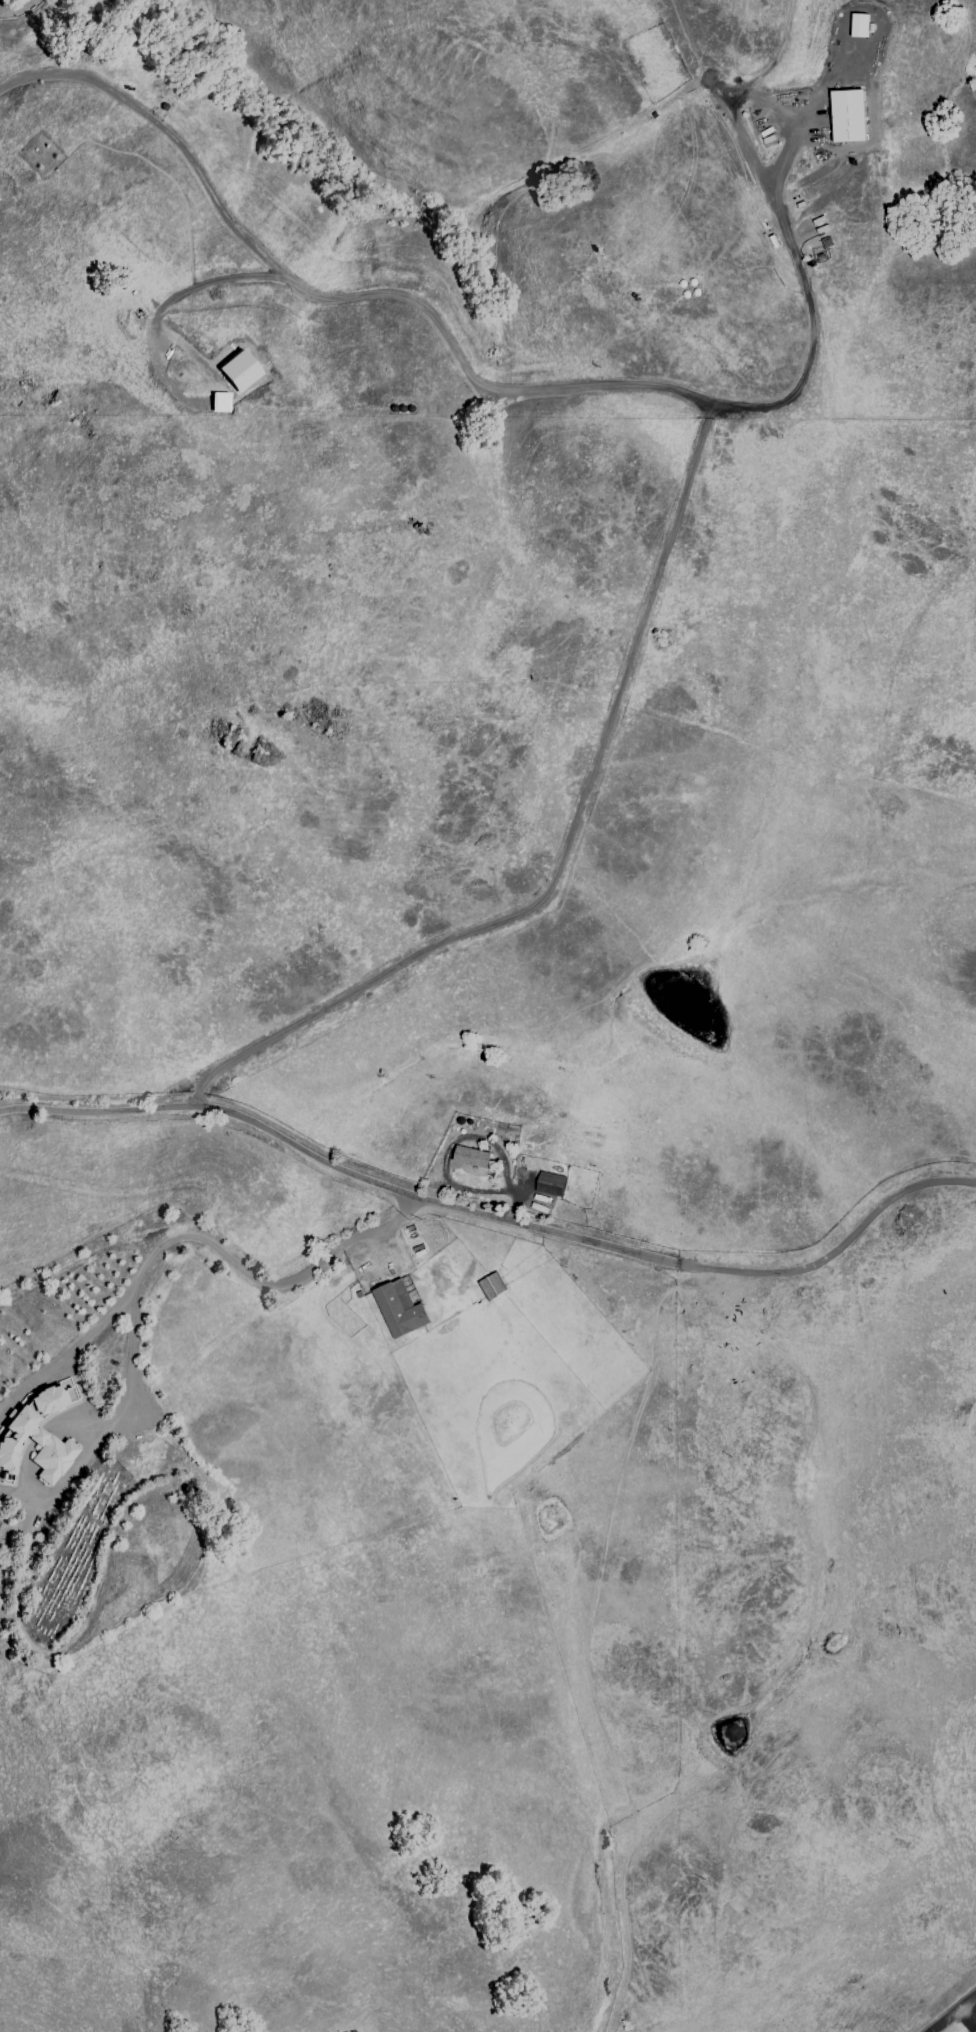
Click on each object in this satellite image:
building: (860, 24)
building: (844, 120)
road: (178, 292)
road: (455, 359)
building: (240, 370)
building: (220, 402)
road: (563, 852)
building: (471, 1156)
building: (471, 1174)
building: (548, 1183)
road: (494, 1219)
road: (264, 1285)
building: (490, 1288)
building: (398, 1309)
road: (129, 1346)
building: (37, 1435)

